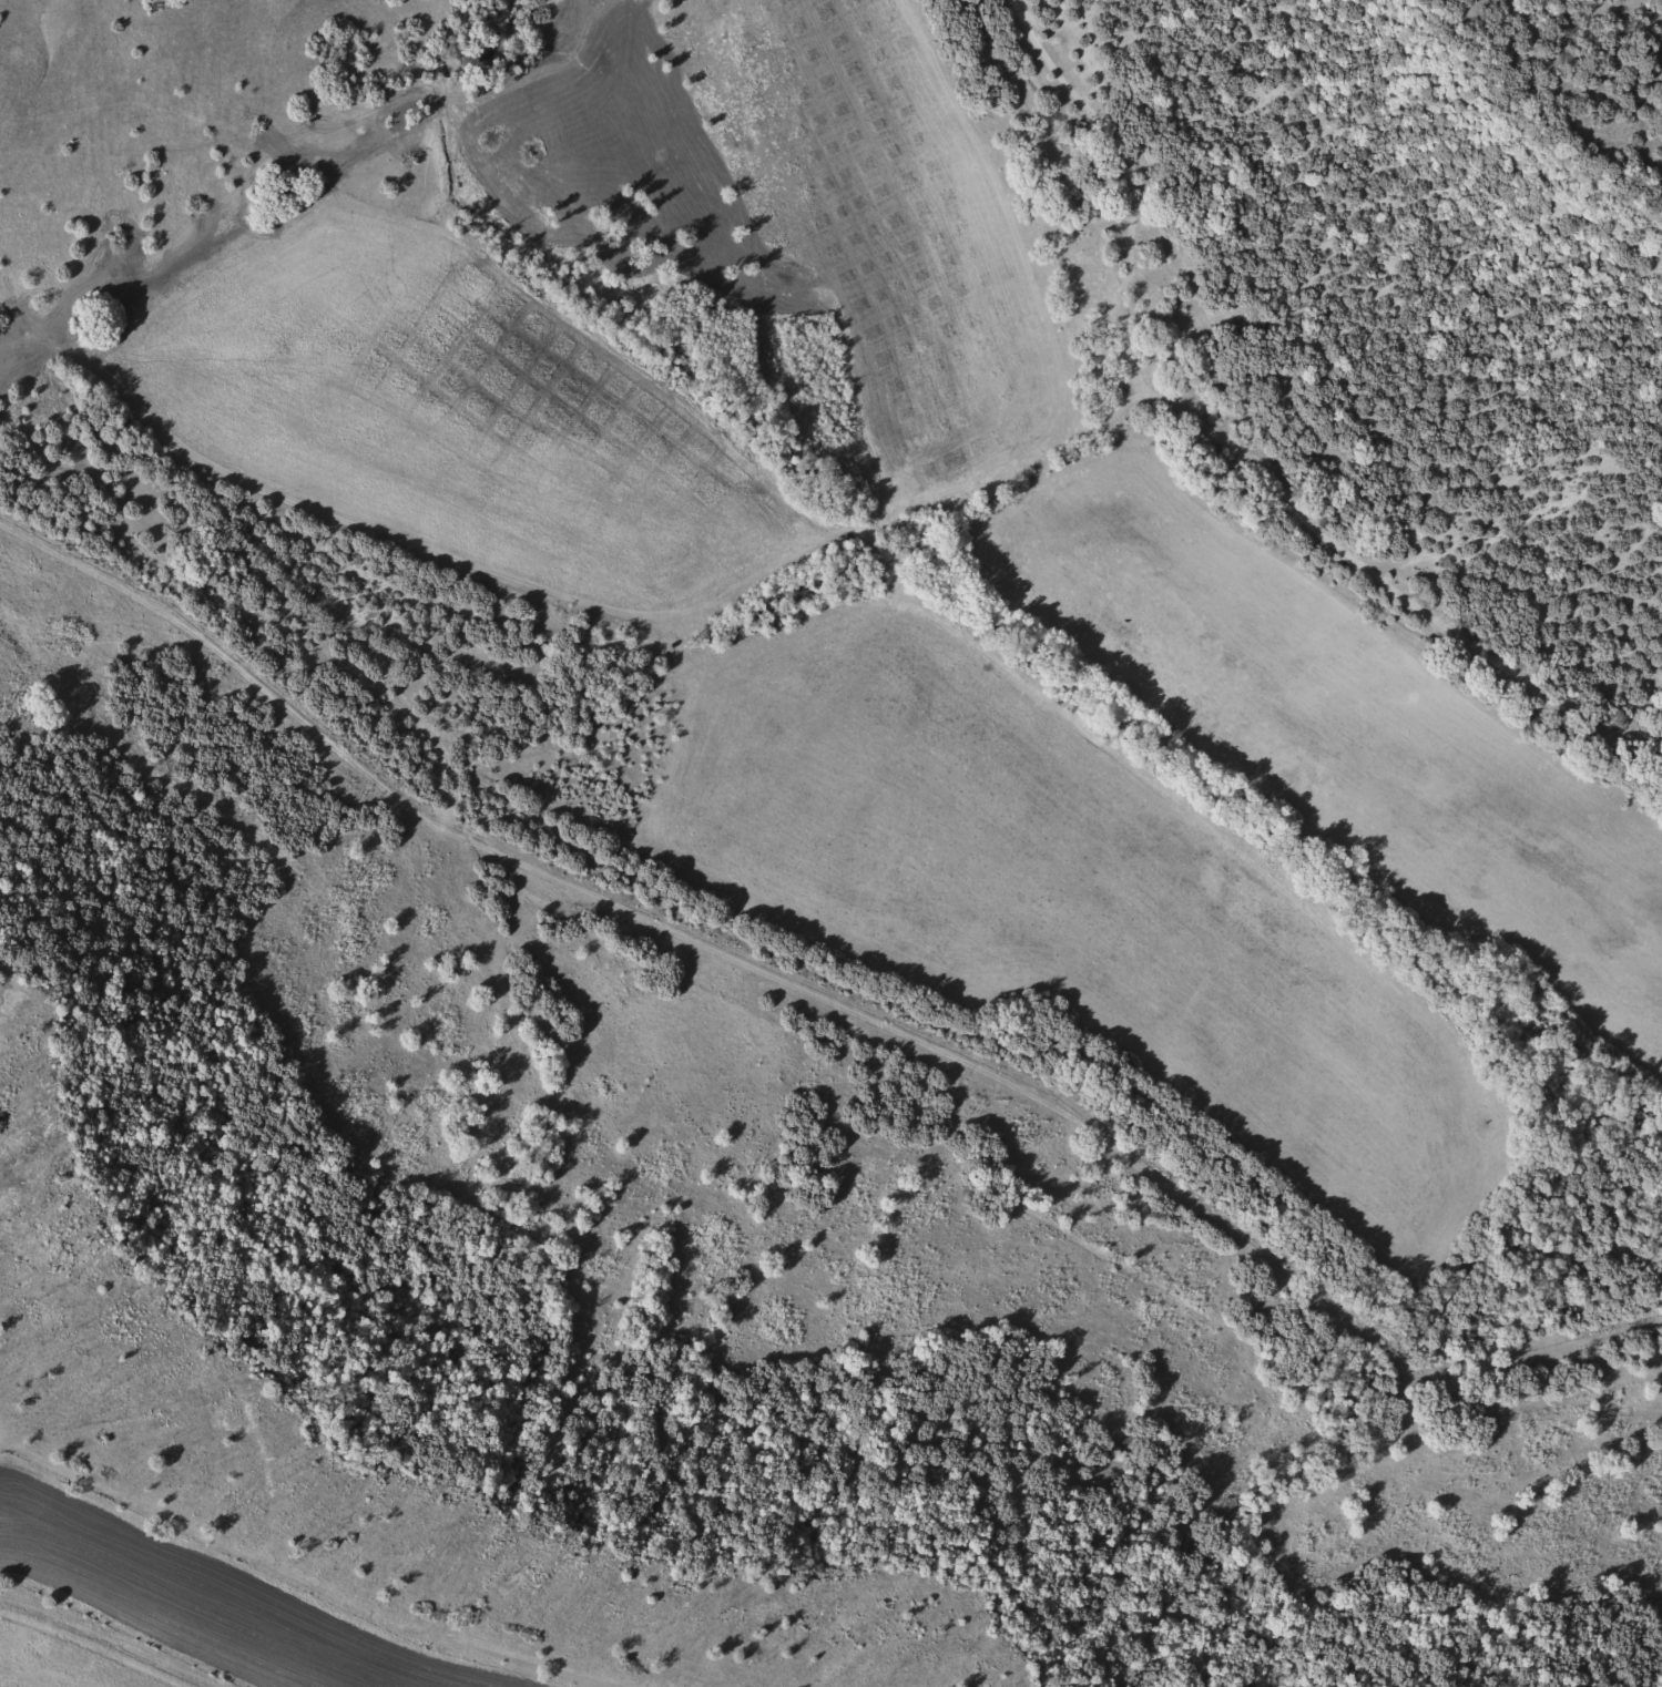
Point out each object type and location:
road: (1141, 234)

